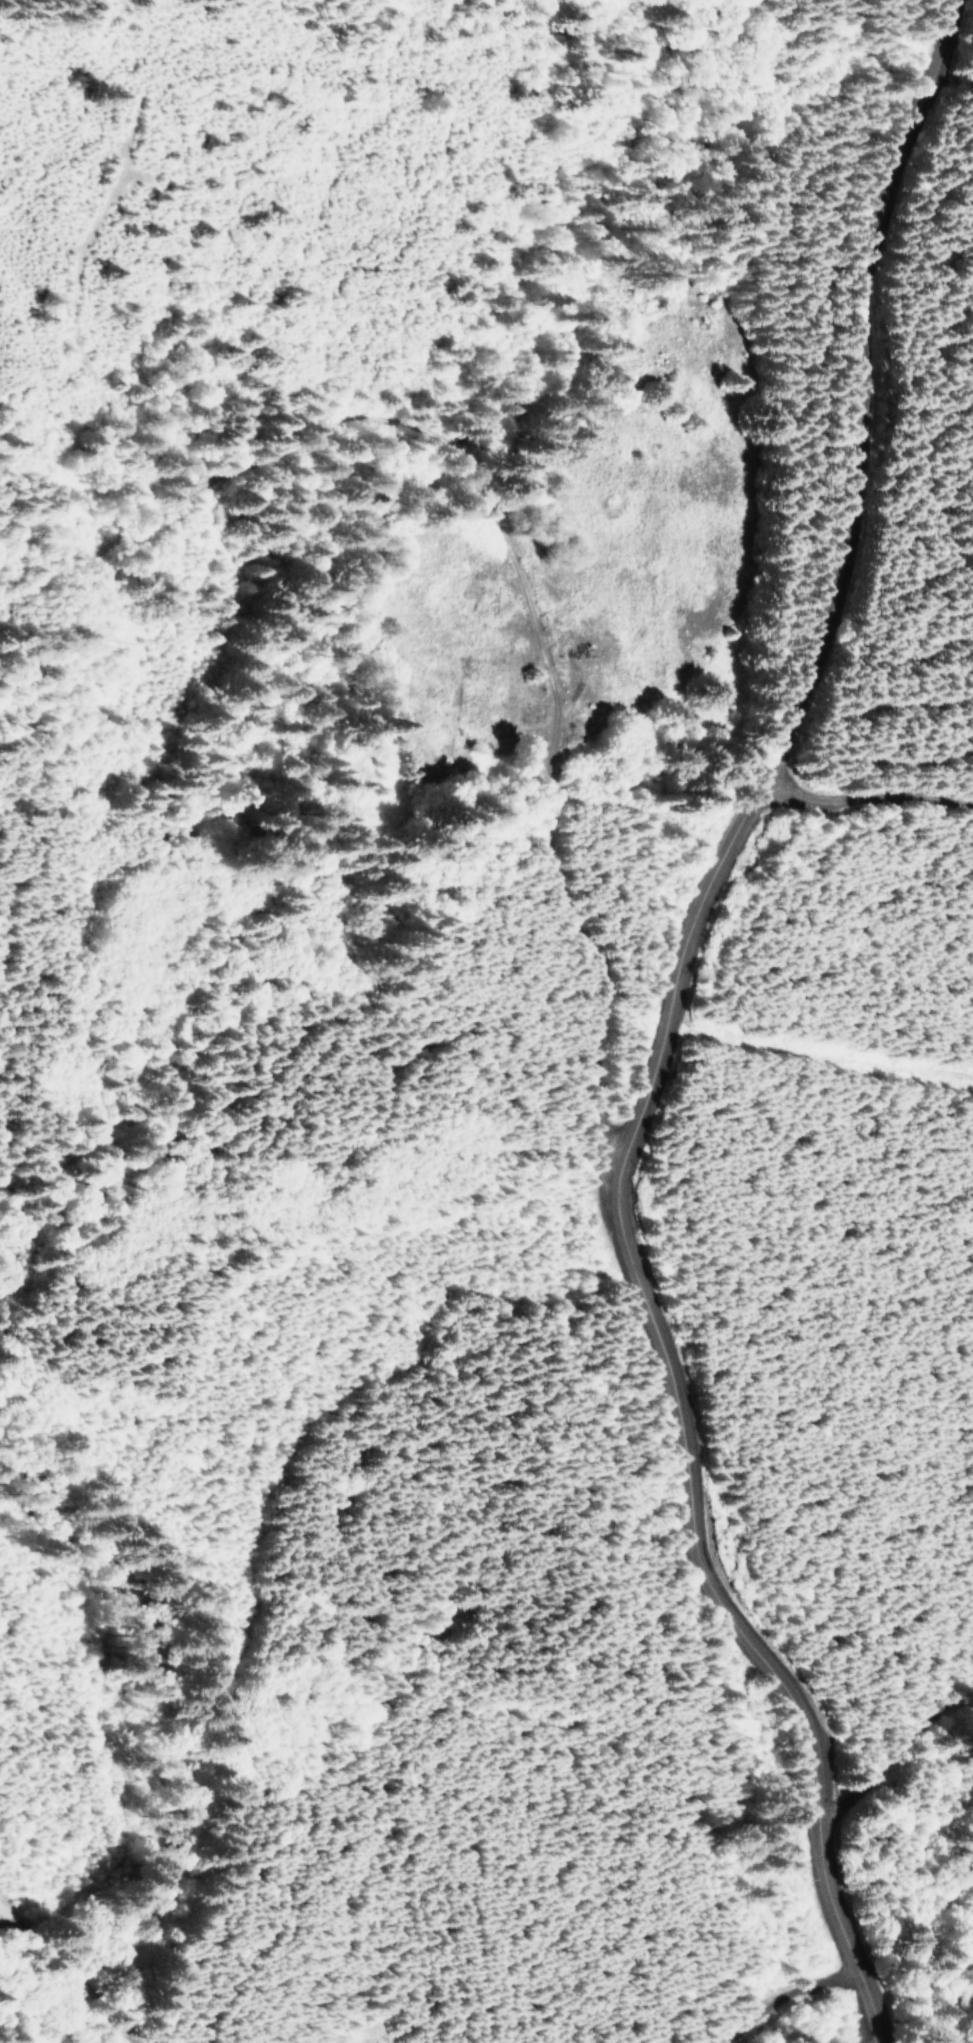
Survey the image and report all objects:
road: (105, 573)
road: (507, 616)
road: (887, 825)
road: (682, 1097)
road: (924, 1779)
road: (19, 1919)
road: (780, 1957)
road: (77, 1961)

